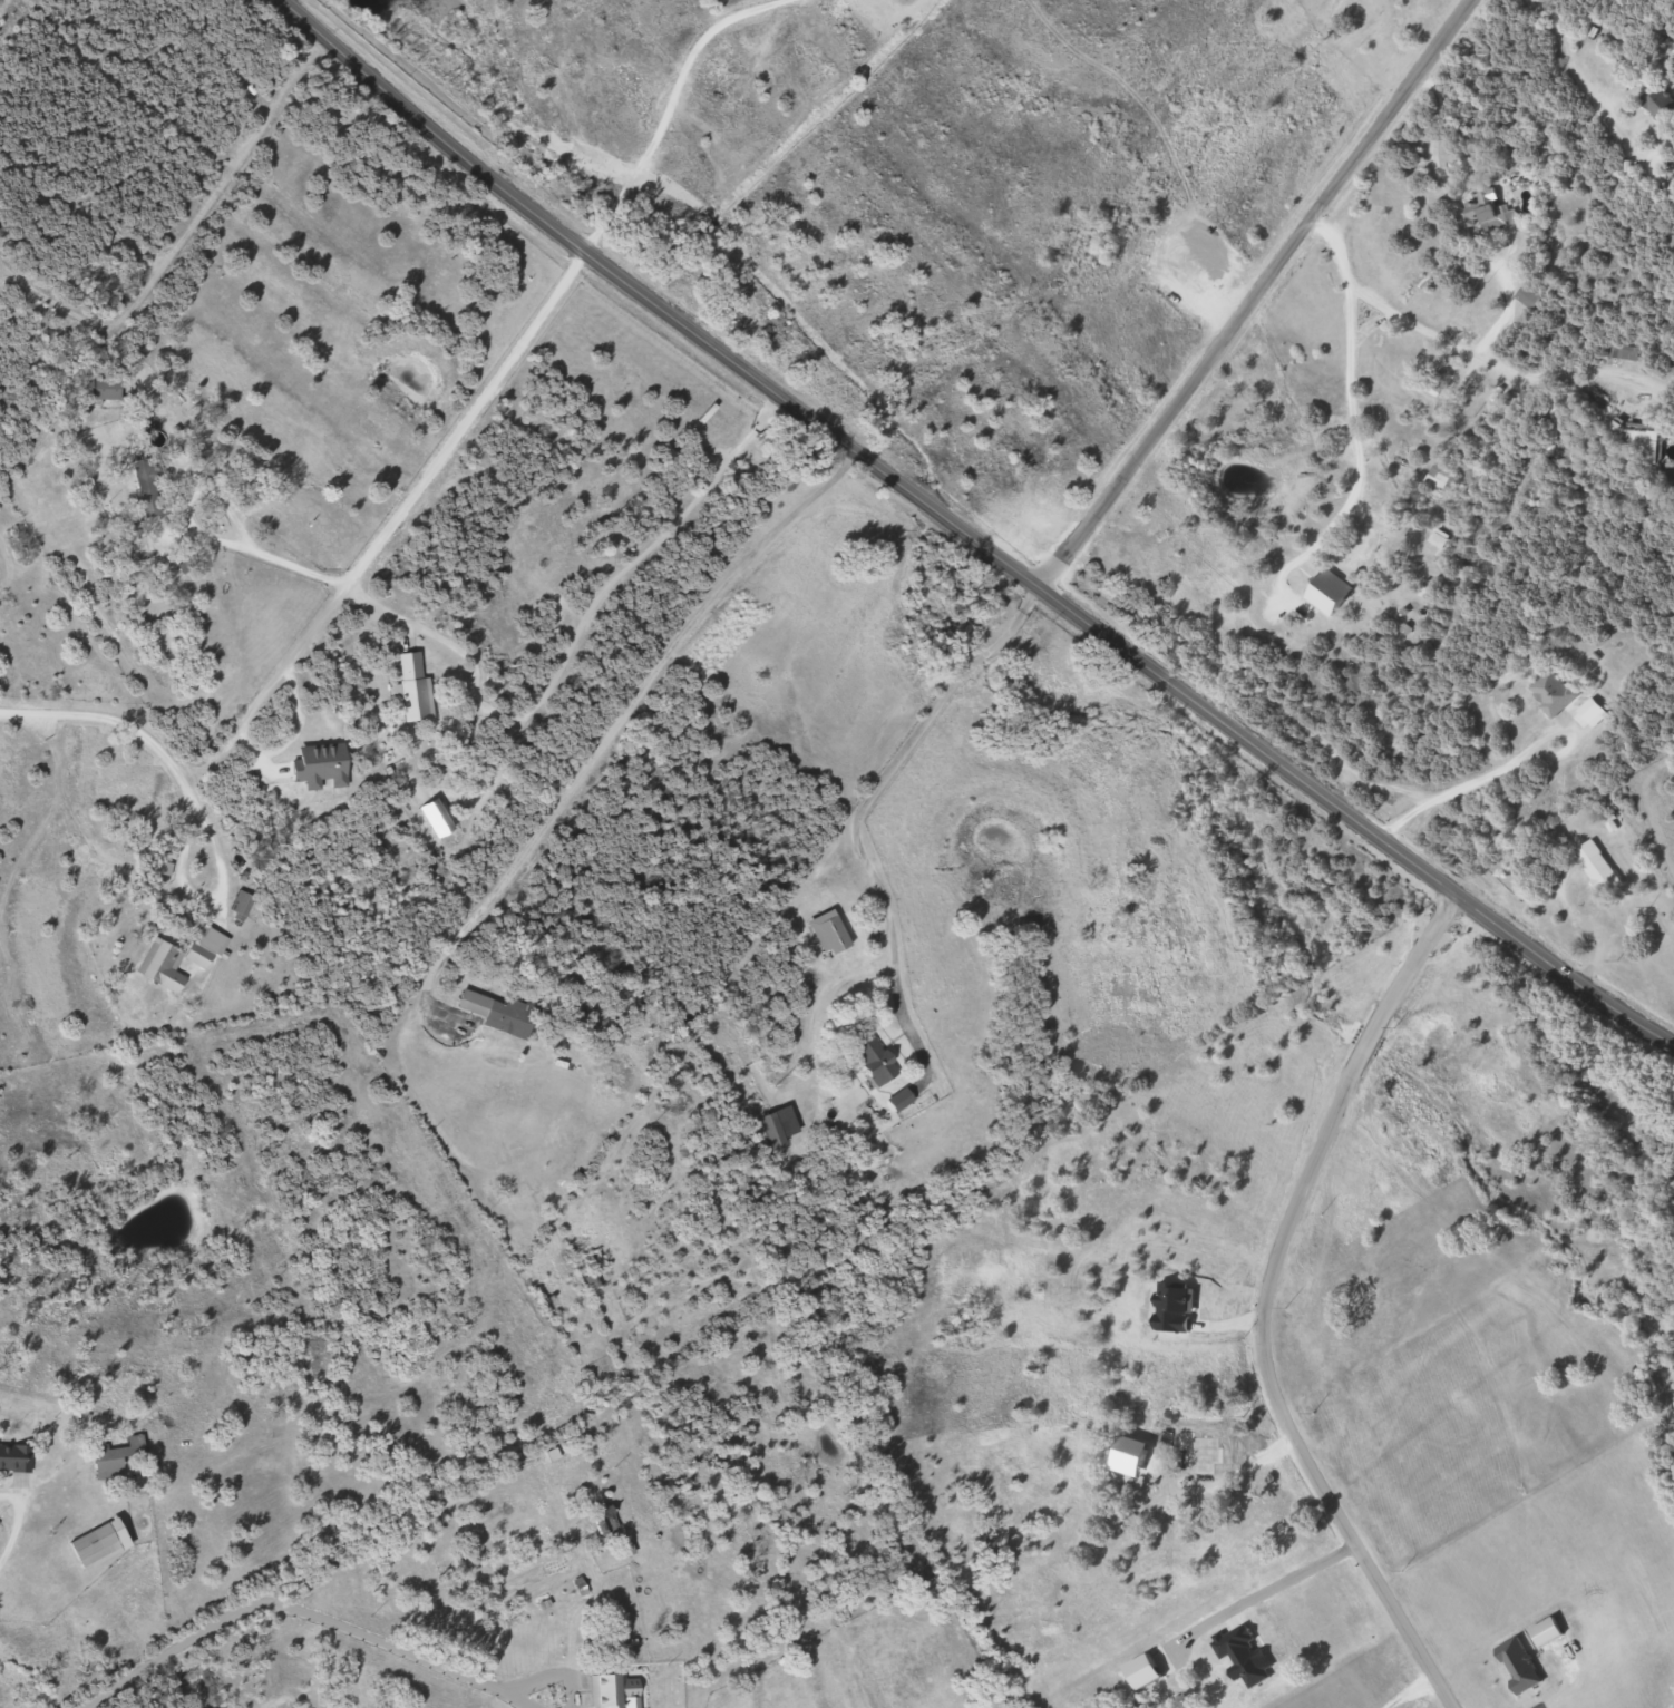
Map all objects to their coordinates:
road: (1576, 77)
building: (1655, 101)
building: (1475, 208)
building: (1524, 297)
road: (1257, 299)
road: (1470, 349)
building: (1619, 351)
building: (1431, 385)
building: (101, 389)
building: (1643, 443)
building: (1437, 478)
road: (413, 492)
road: (964, 538)
building: (1360, 545)
building: (407, 687)
building: (1548, 693)
road: (632, 707)
road: (115, 716)
building: (315, 767)
road: (1461, 785)
road: (862, 799)
building: (1592, 863)
road: (210, 898)
building: (237, 905)
building: (824, 934)
building: (167, 964)
road: (1410, 970)
building: (497, 1013)
building: (869, 1062)
building: (895, 1102)
building: (775, 1126)
road: (1271, 1387)
building: (111, 1458)
building: (7, 1465)
road: (17, 1523)
building: (87, 1543)
road: (341, 1544)
road: (383, 1642)
road: (546, 1677)
building: (604, 1691)
road: (515, 1698)

